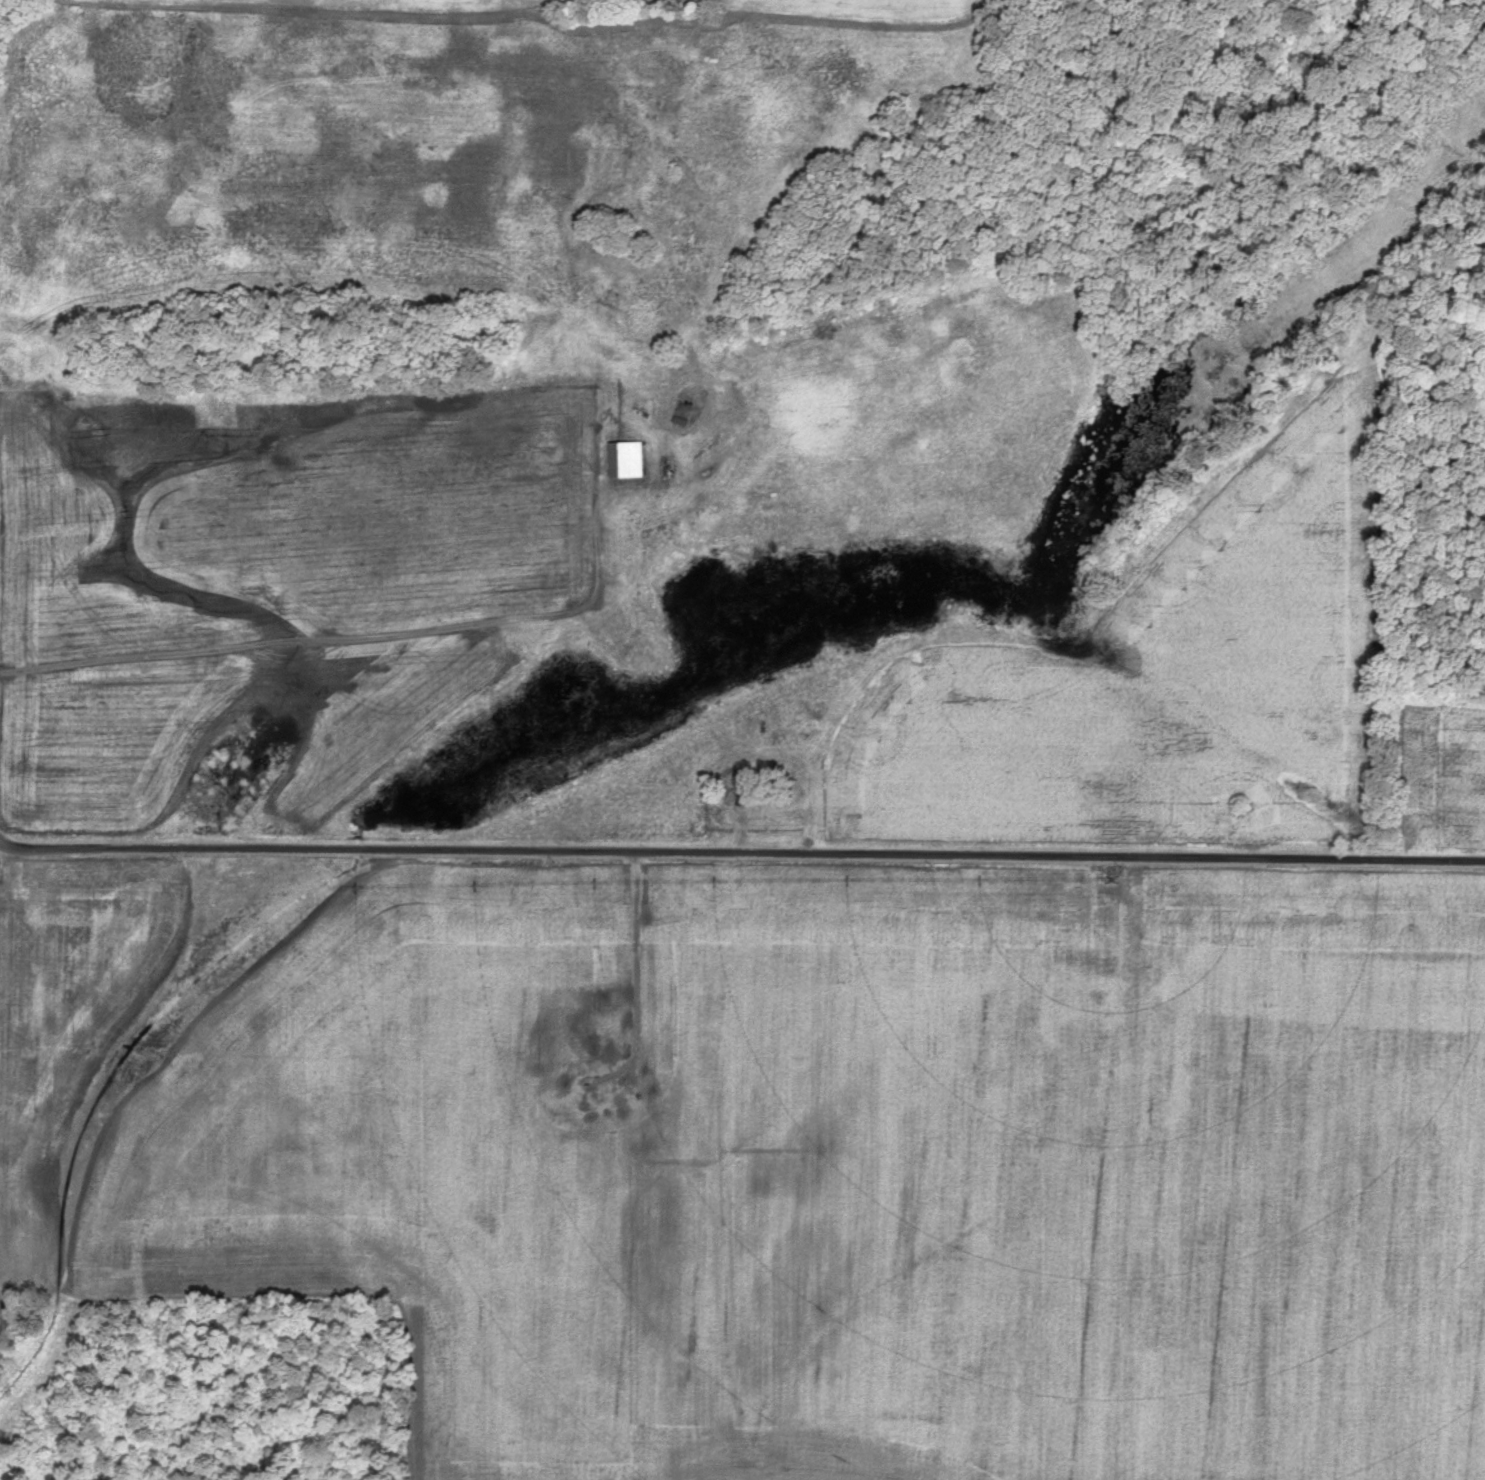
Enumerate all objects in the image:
building: (622, 460)
road: (399, 635)
road: (741, 858)
road: (637, 960)

